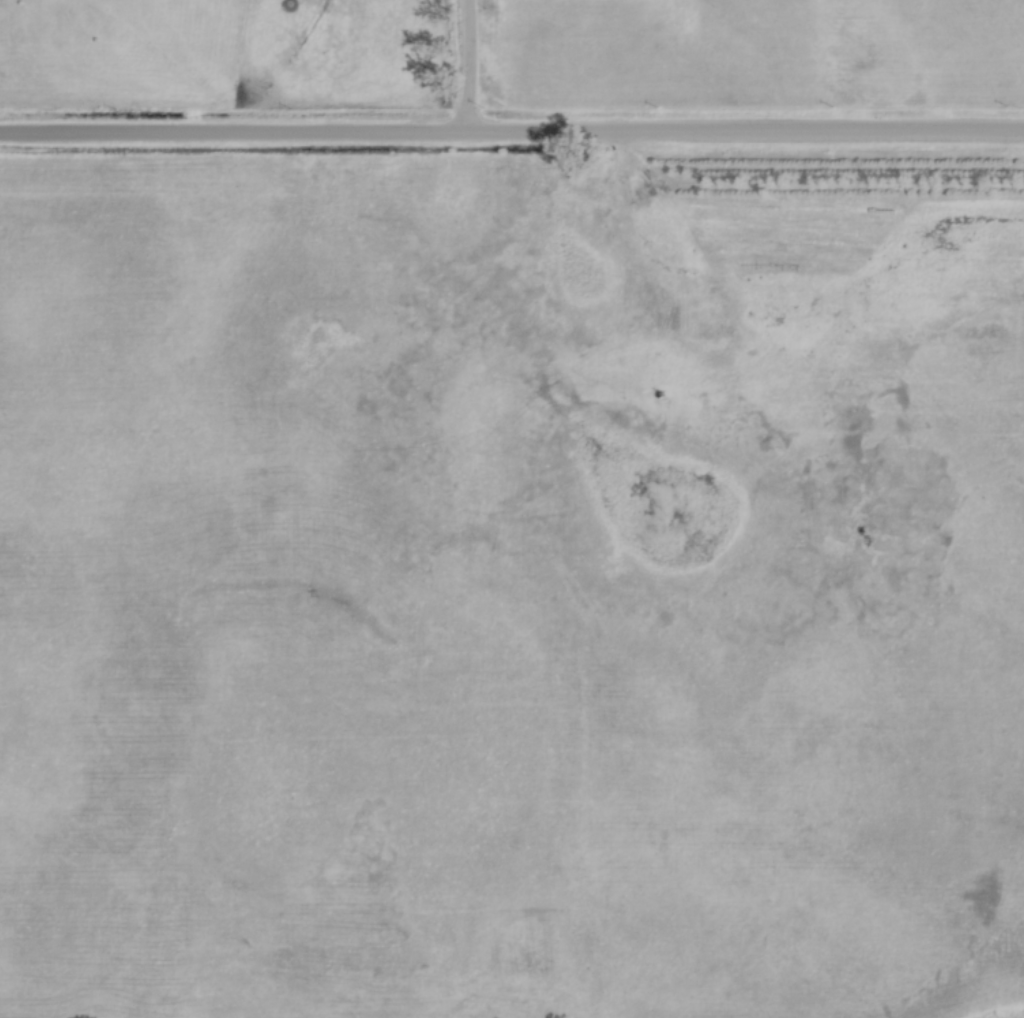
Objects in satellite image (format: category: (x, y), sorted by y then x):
road: (469, 69)
road: (512, 137)

